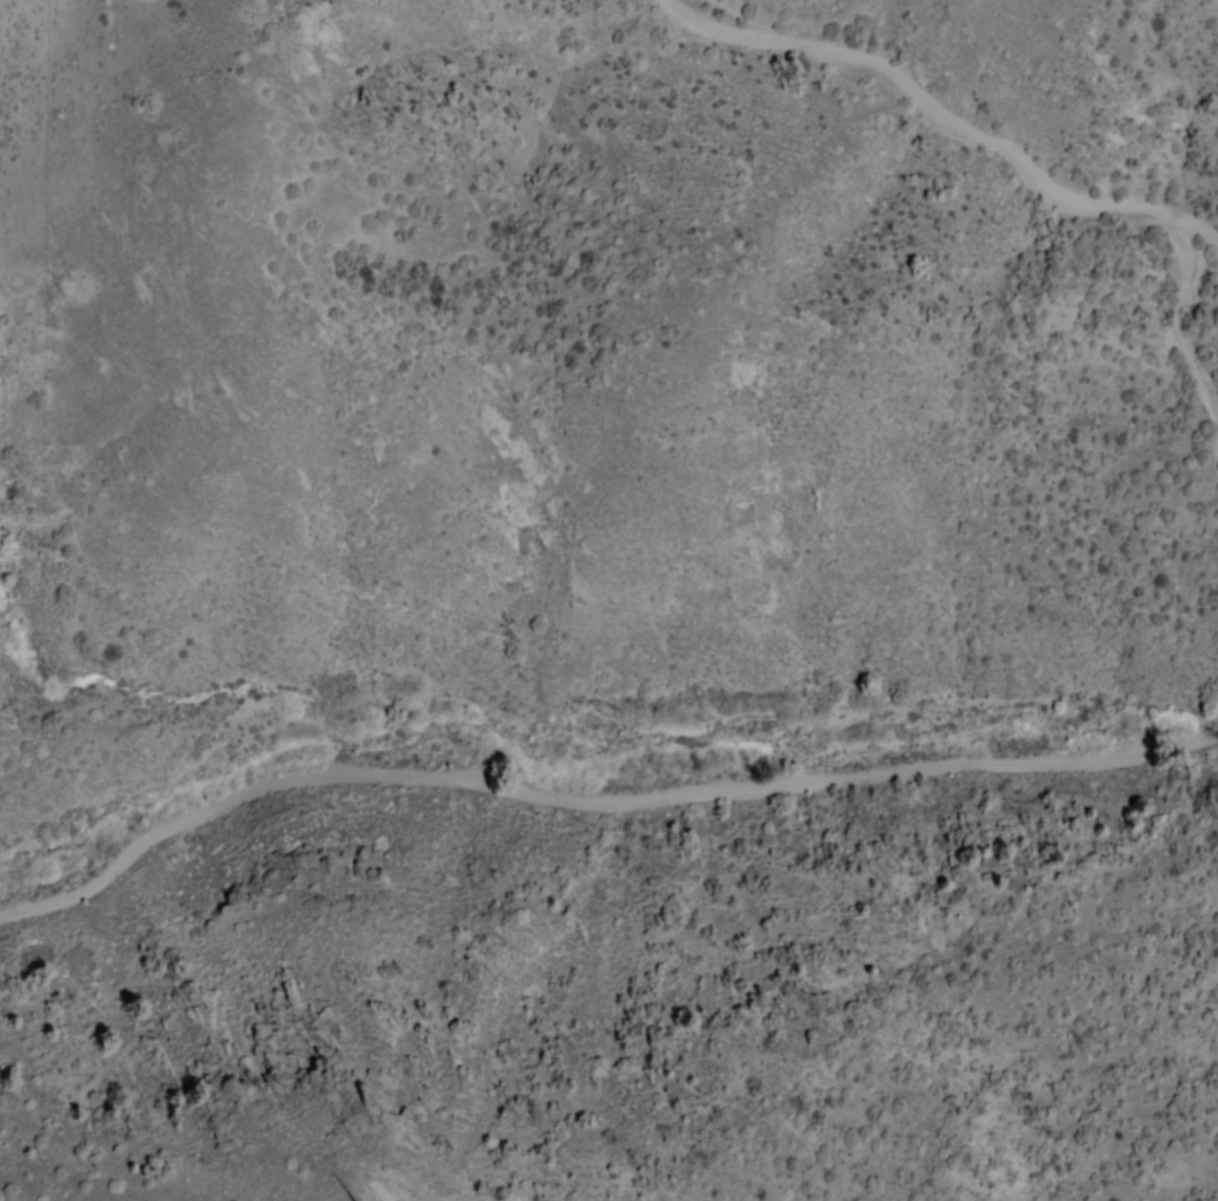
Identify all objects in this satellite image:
road: (1013, 155)
road: (590, 797)

